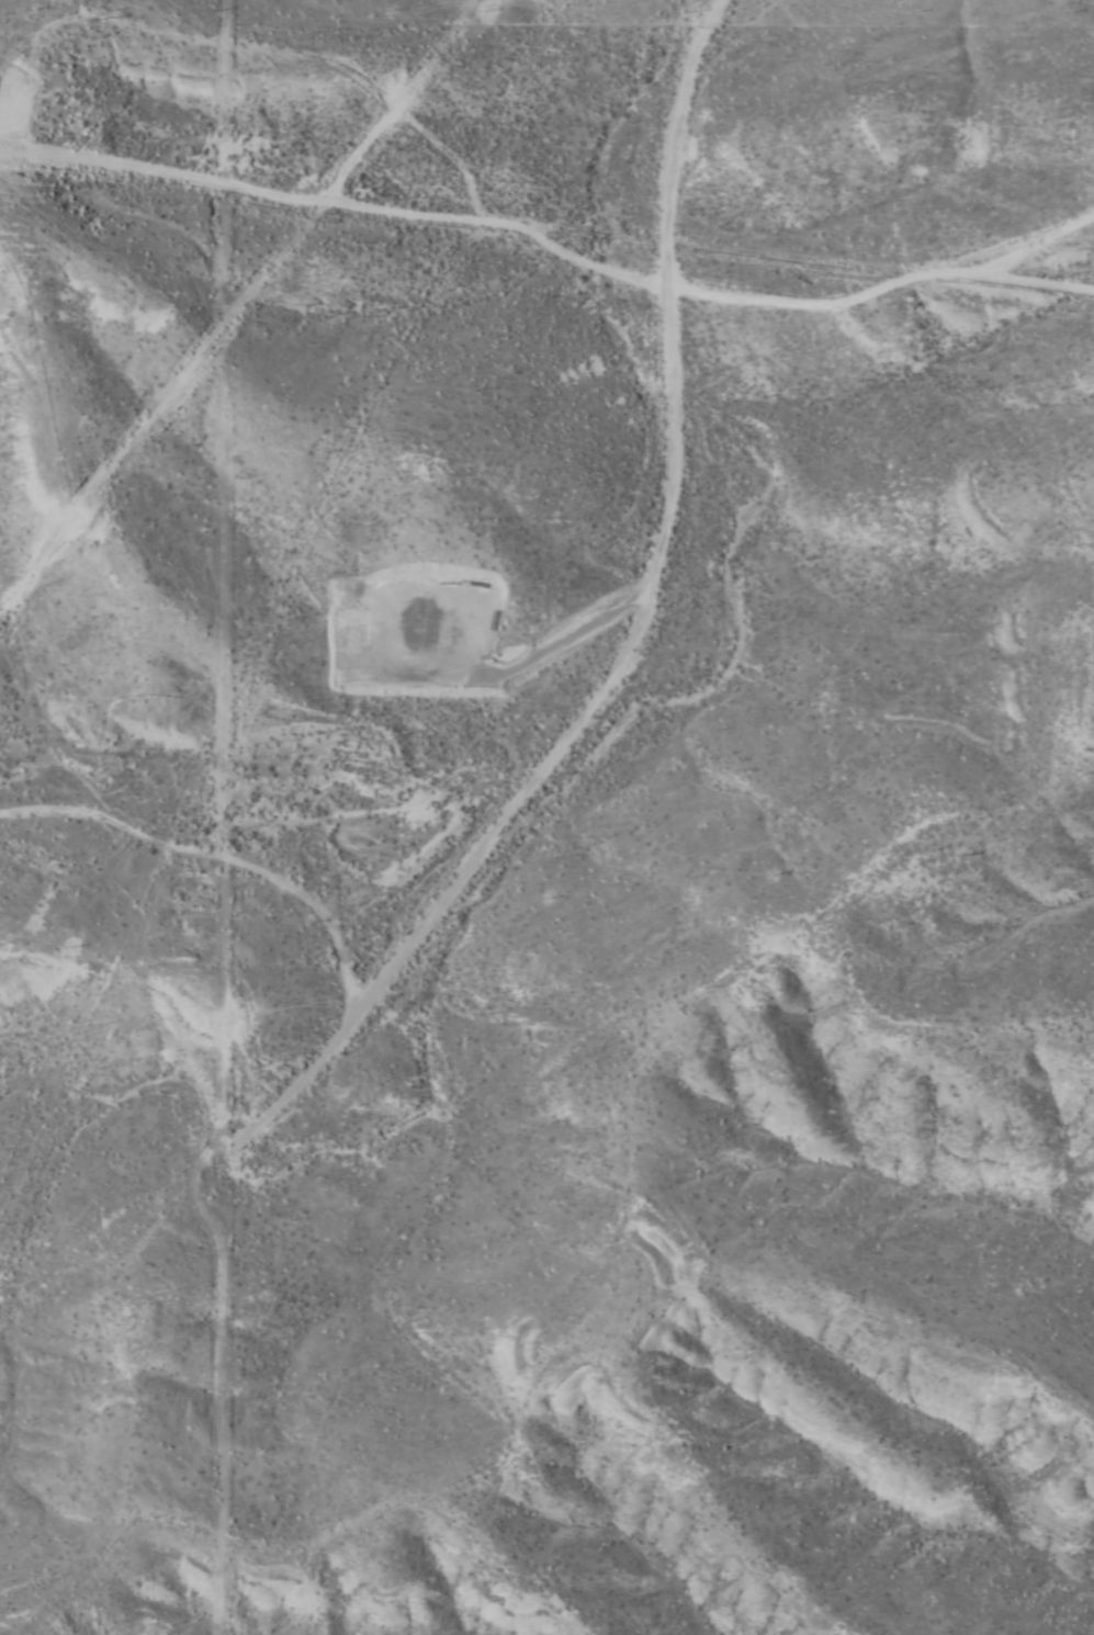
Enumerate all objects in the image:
road: (648, 150)
road: (243, 305)

